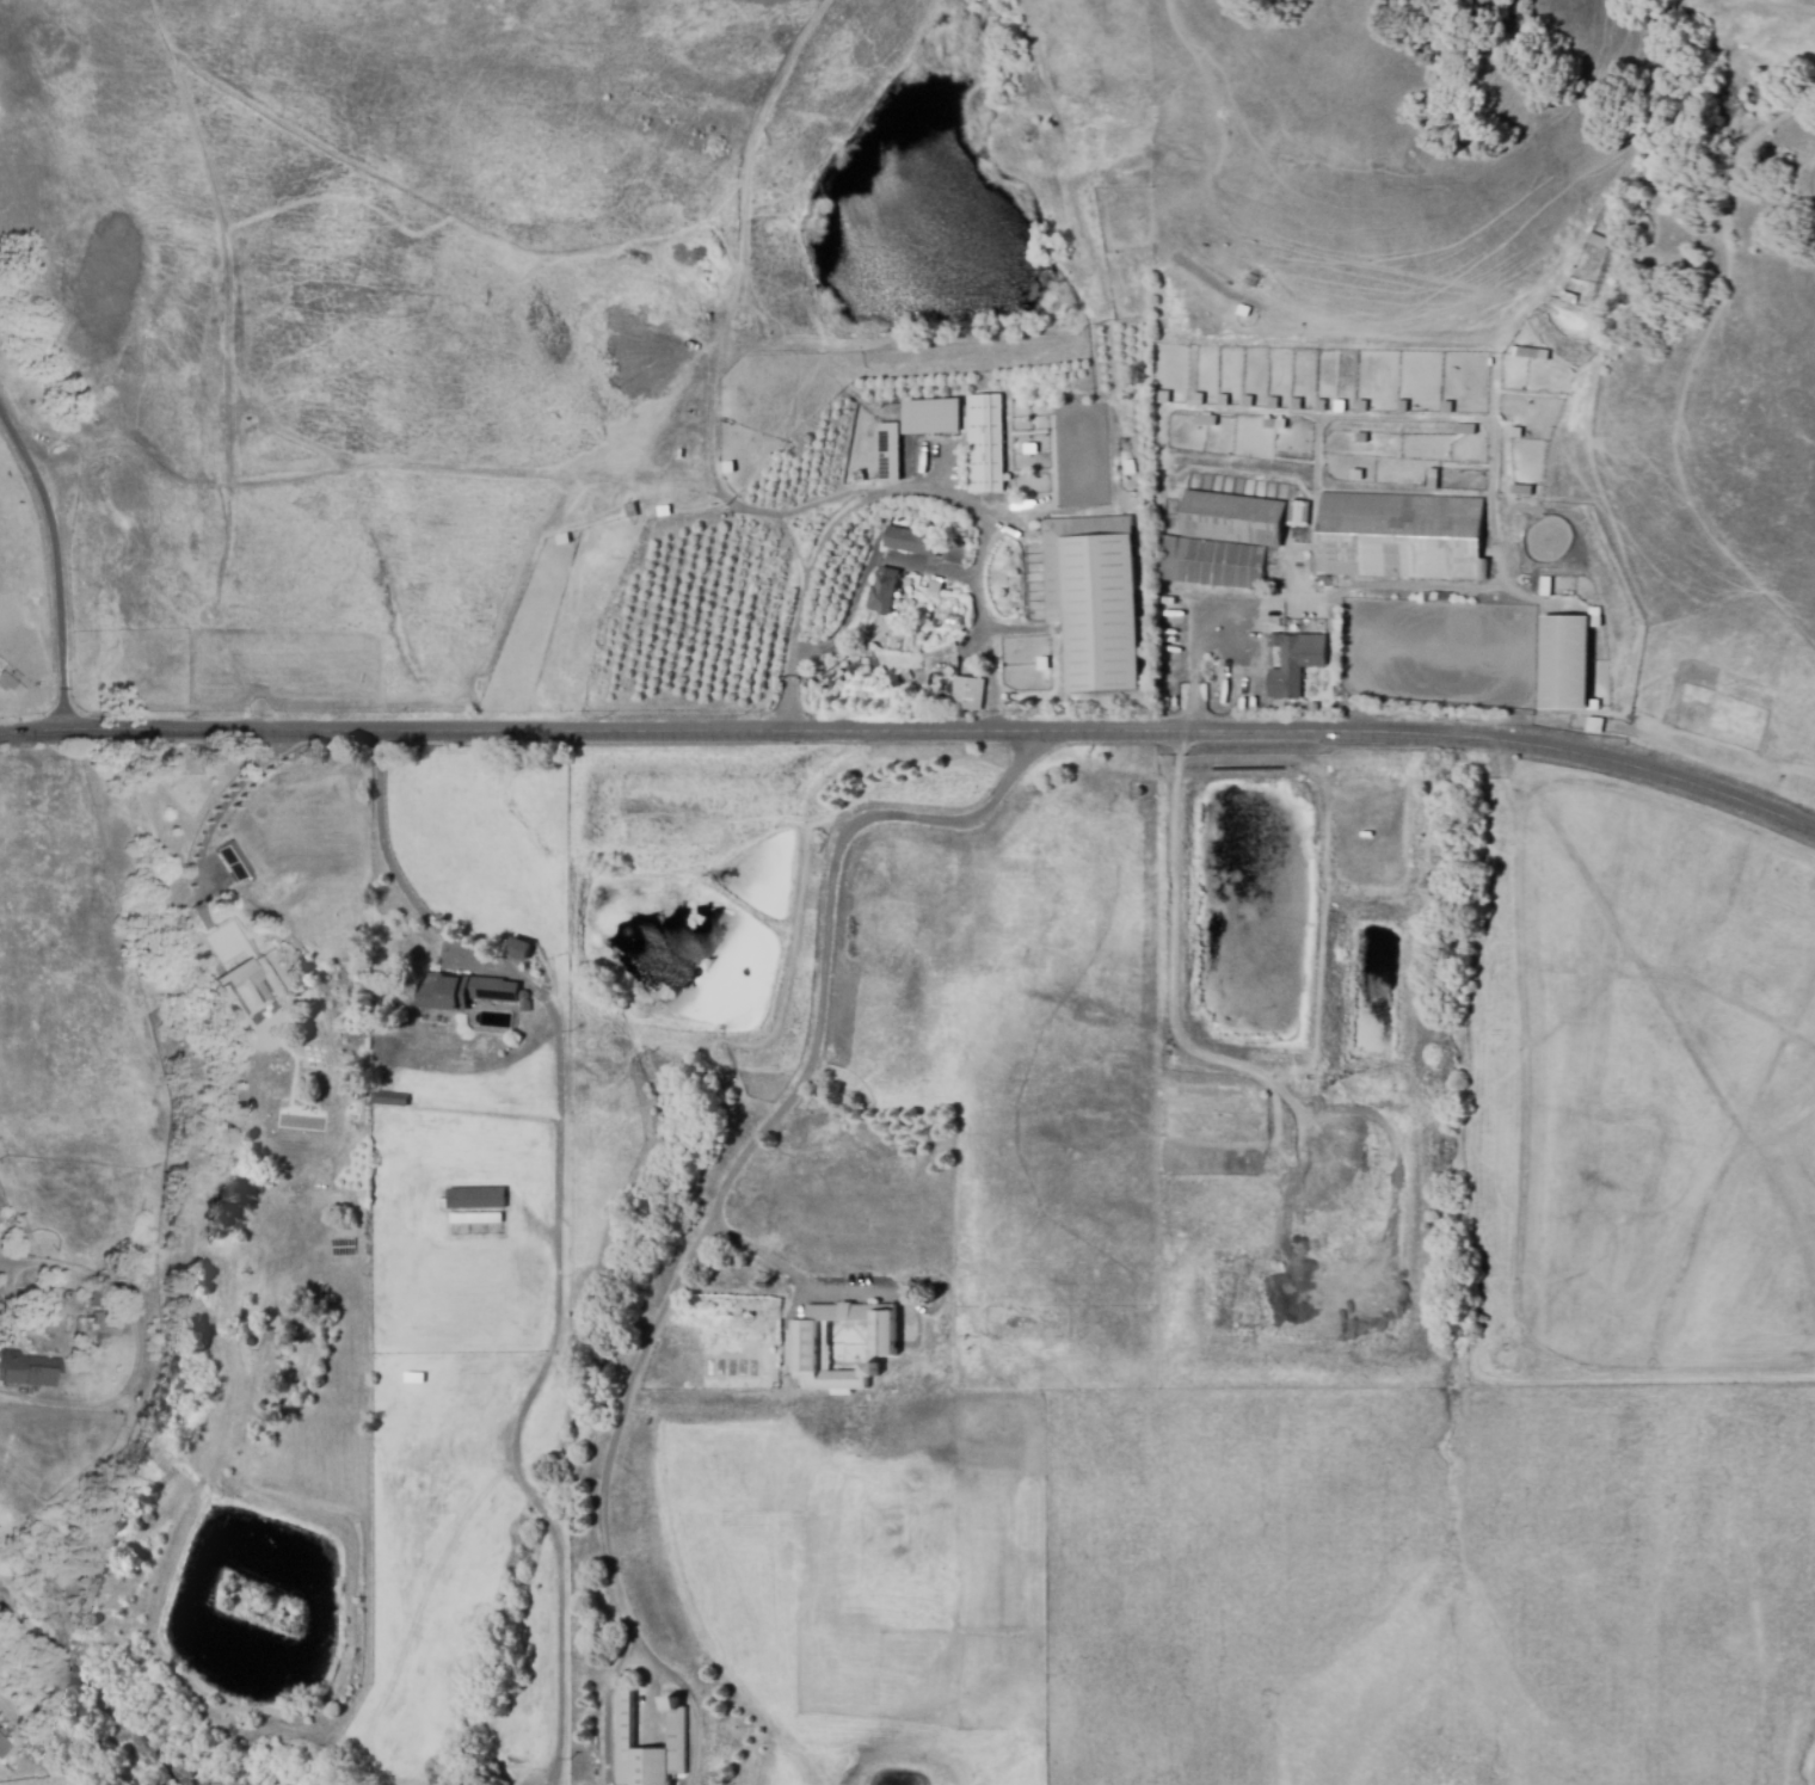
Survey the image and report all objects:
building: (1250, 284)
building: (1527, 355)
building: (1199, 400)
building: (1224, 401)
building: (1248, 404)
building: (1274, 406)
building: (1296, 407)
building: (1321, 408)
building: (1360, 410)
building: (1402, 410)
building: (1446, 411)
building: (933, 417)
building: (1206, 423)
building: (1465, 432)
building: (1359, 436)
building: (985, 445)
building: (890, 454)
building: (1354, 473)
building: (1429, 476)
road: (911, 488)
building: (1520, 492)
building: (1298, 515)
building: (1233, 519)
building: (1171, 524)
building: (1399, 537)
building: (913, 543)
road: (61, 559)
building: (1213, 564)
road: (869, 570)
building: (1544, 584)
building: (933, 587)
building: (885, 592)
building: (1093, 598)
building: (1297, 660)
building: (1564, 660)
road: (1199, 663)
building: (6, 682)
building: (968, 695)
building: (1594, 724)
road: (913, 731)
road: (214, 812)
building: (229, 857)
building: (519, 947)
building: (384, 974)
building: (239, 980)
building: (466, 987)
road: (816, 1016)
building: (393, 1097)
building: (301, 1165)
building: (478, 1200)
building: (478, 1219)
road: (561, 1225)
building: (23, 1231)
building: (93, 1298)
building: (806, 1343)
building: (26, 1369)
road: (617, 1417)
road: (688, 1703)
road: (607, 1707)
building: (623, 1729)
building: (2, 1746)

